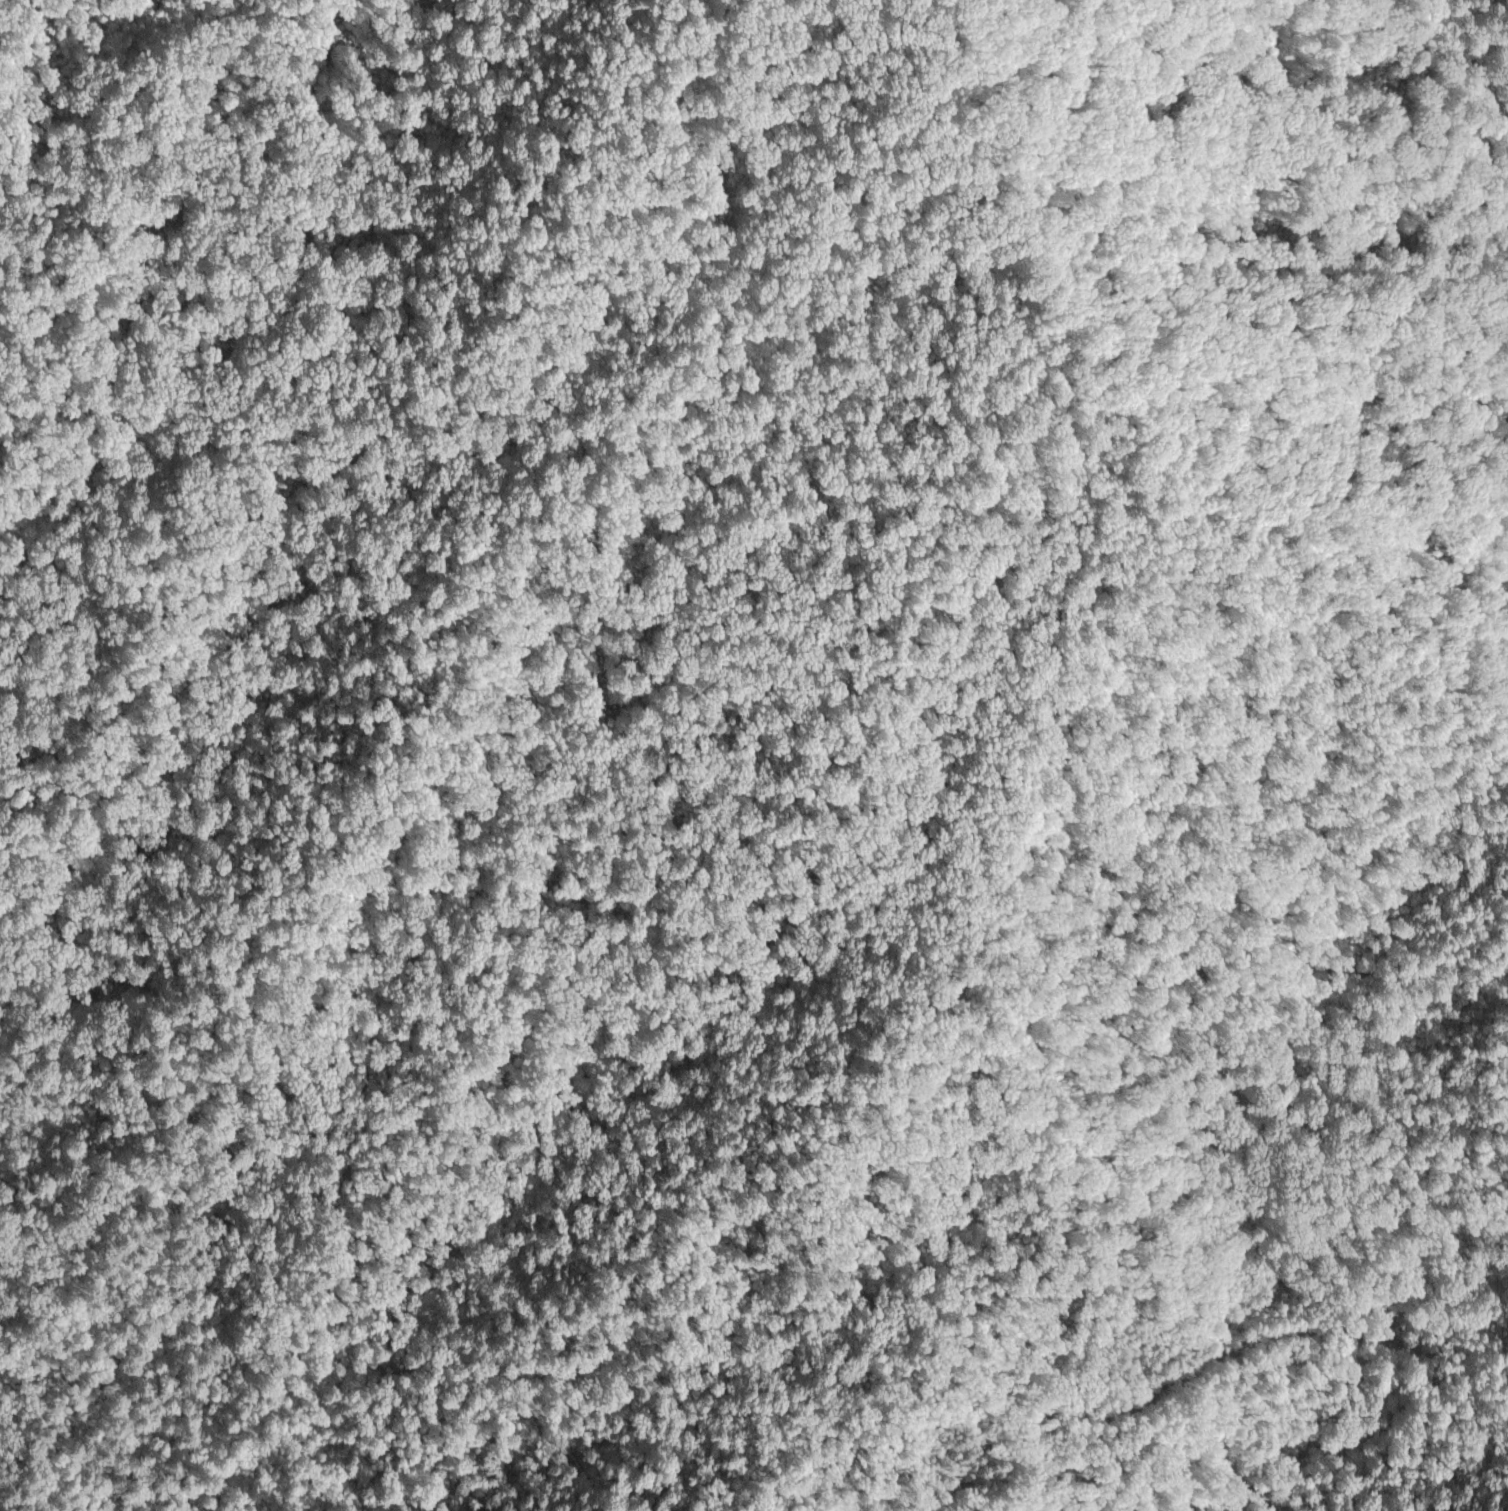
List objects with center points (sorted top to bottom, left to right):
road: (1256, 1338)

